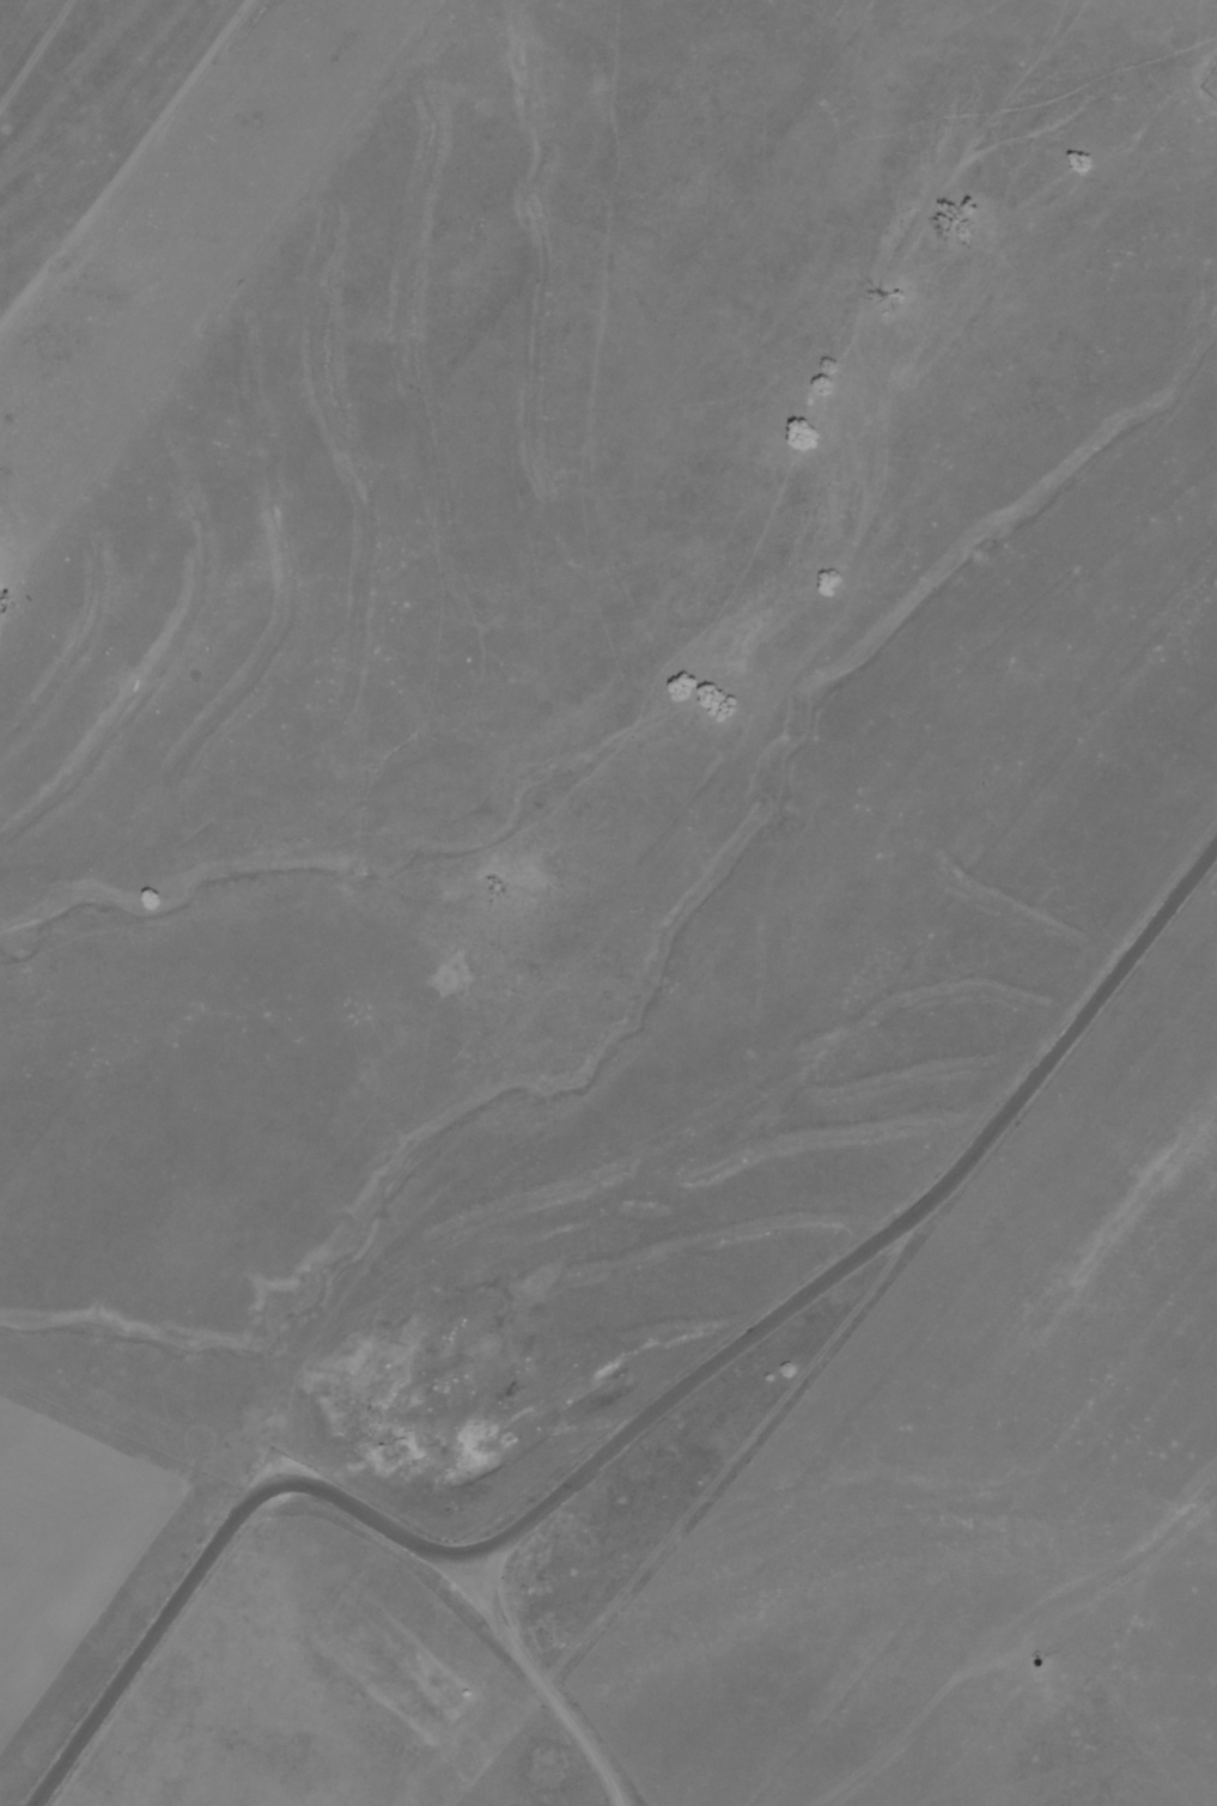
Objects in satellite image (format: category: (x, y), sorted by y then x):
road: (628, 1447)
road: (542, 1682)

